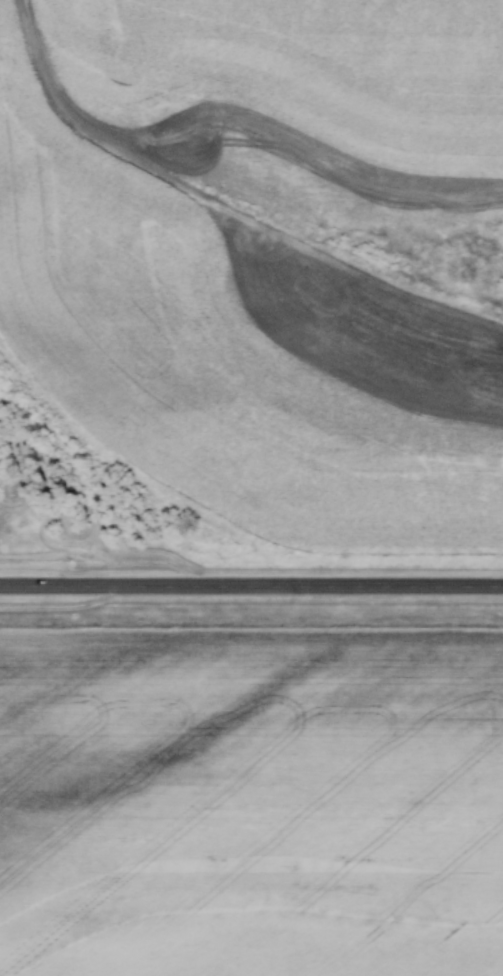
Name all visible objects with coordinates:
road: (251, 585)

